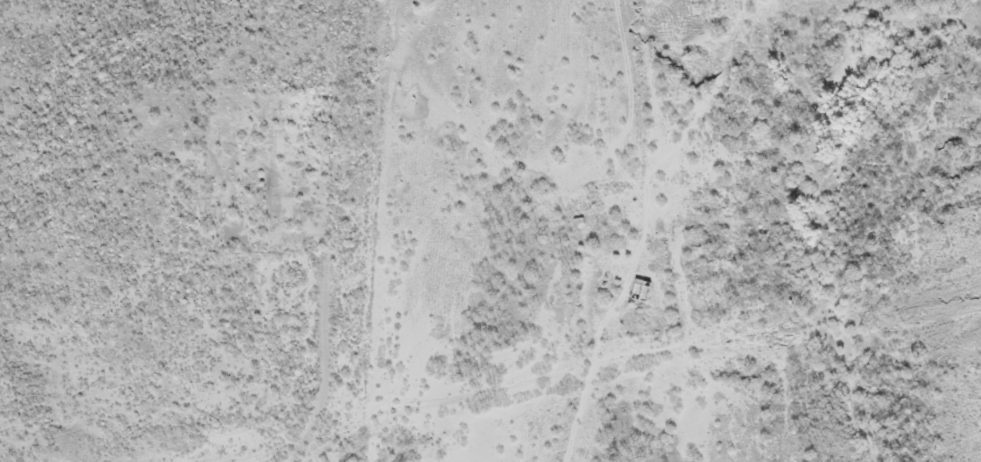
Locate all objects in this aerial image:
road: (589, 383)

